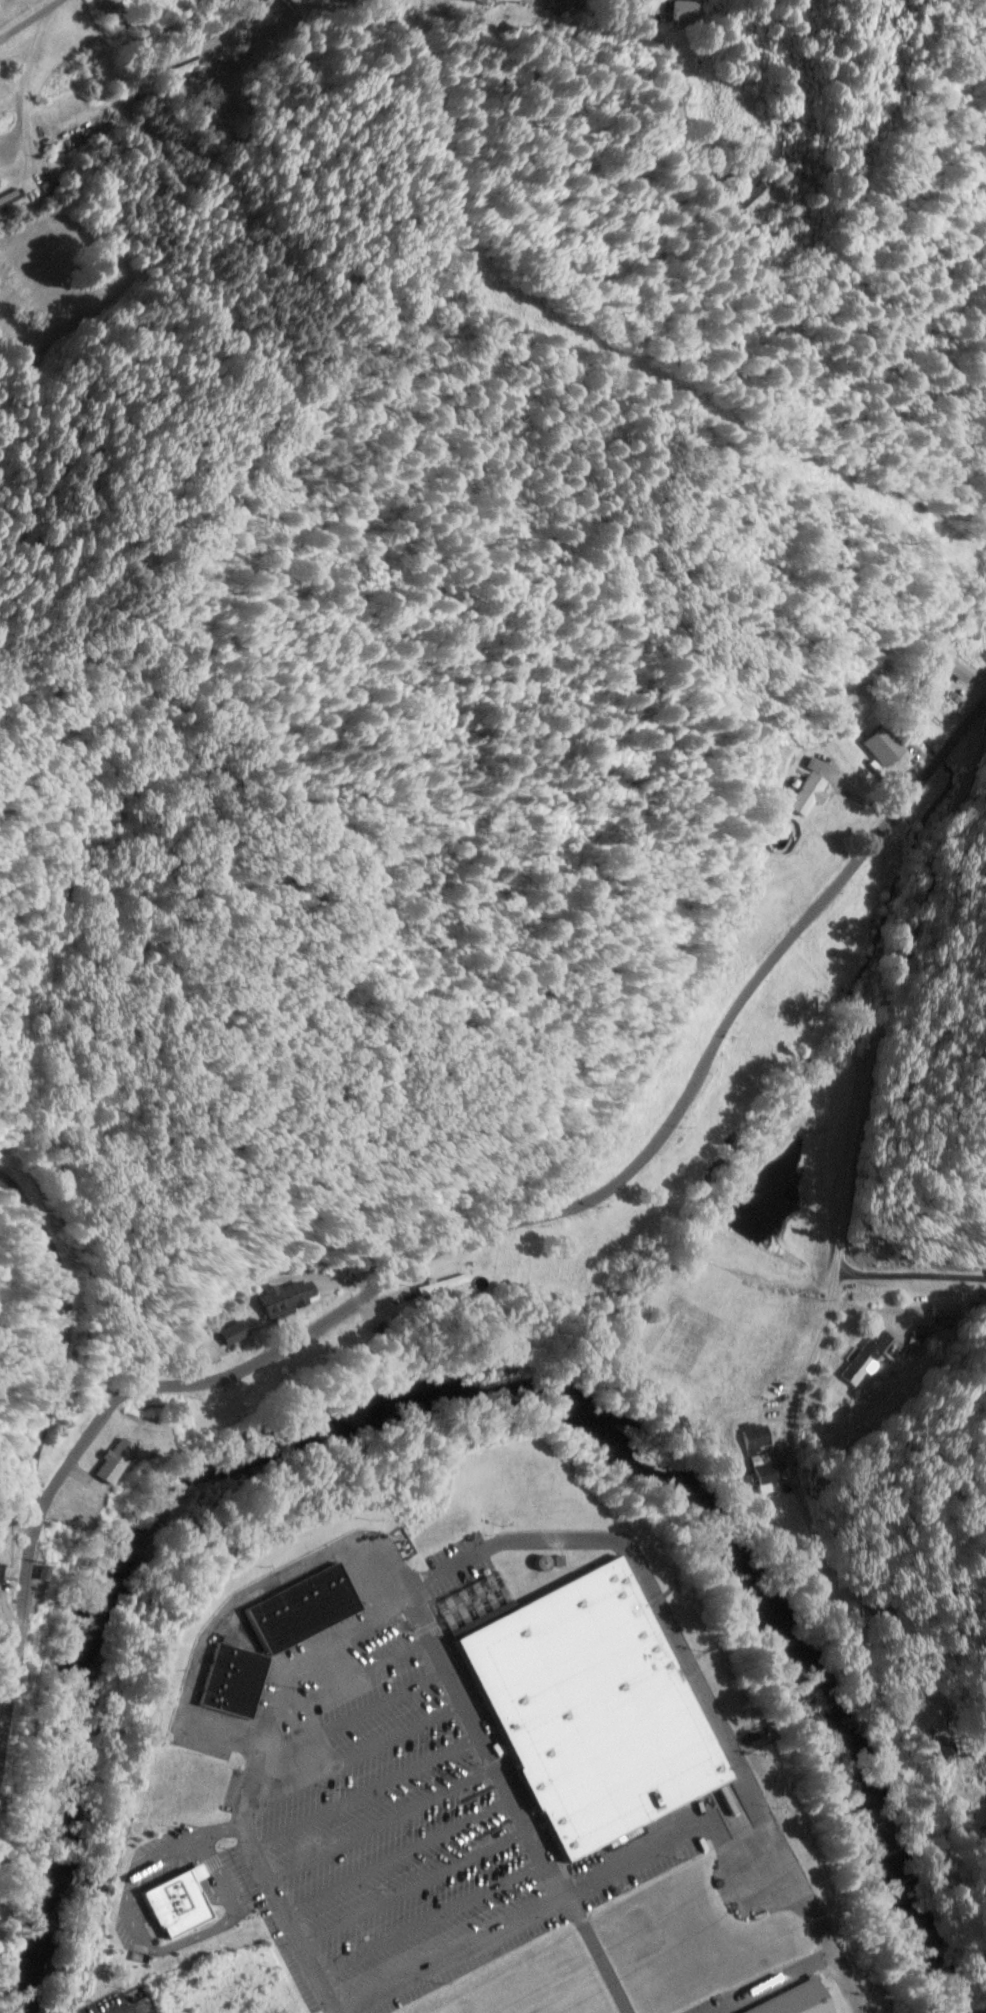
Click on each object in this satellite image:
building: (565, 4)
road: (13, 8)
building: (747, 191)
building: (11, 196)
road: (124, 314)
road: (164, 482)
road: (978, 737)
building: (880, 744)
building: (809, 793)
road: (840, 1230)
road: (475, 1231)
building: (291, 1297)
building: (237, 1332)
building: (864, 1356)
river: (465, 1384)
building: (753, 1437)
building: (118, 1459)
building: (759, 1472)
road: (236, 1602)
building: (280, 1634)
road: (352, 1675)
road: (692, 1675)
building: (586, 1706)
road: (353, 1715)
road: (355, 1756)
road: (253, 1774)
road: (368, 1785)
road: (514, 1803)
road: (384, 1819)
parking lot: (394, 1824)
road: (400, 1852)
road: (740, 1857)
road: (415, 1883)
building: (179, 1901)
road: (521, 1915)
road: (433, 1919)
building: (792, 2000)

